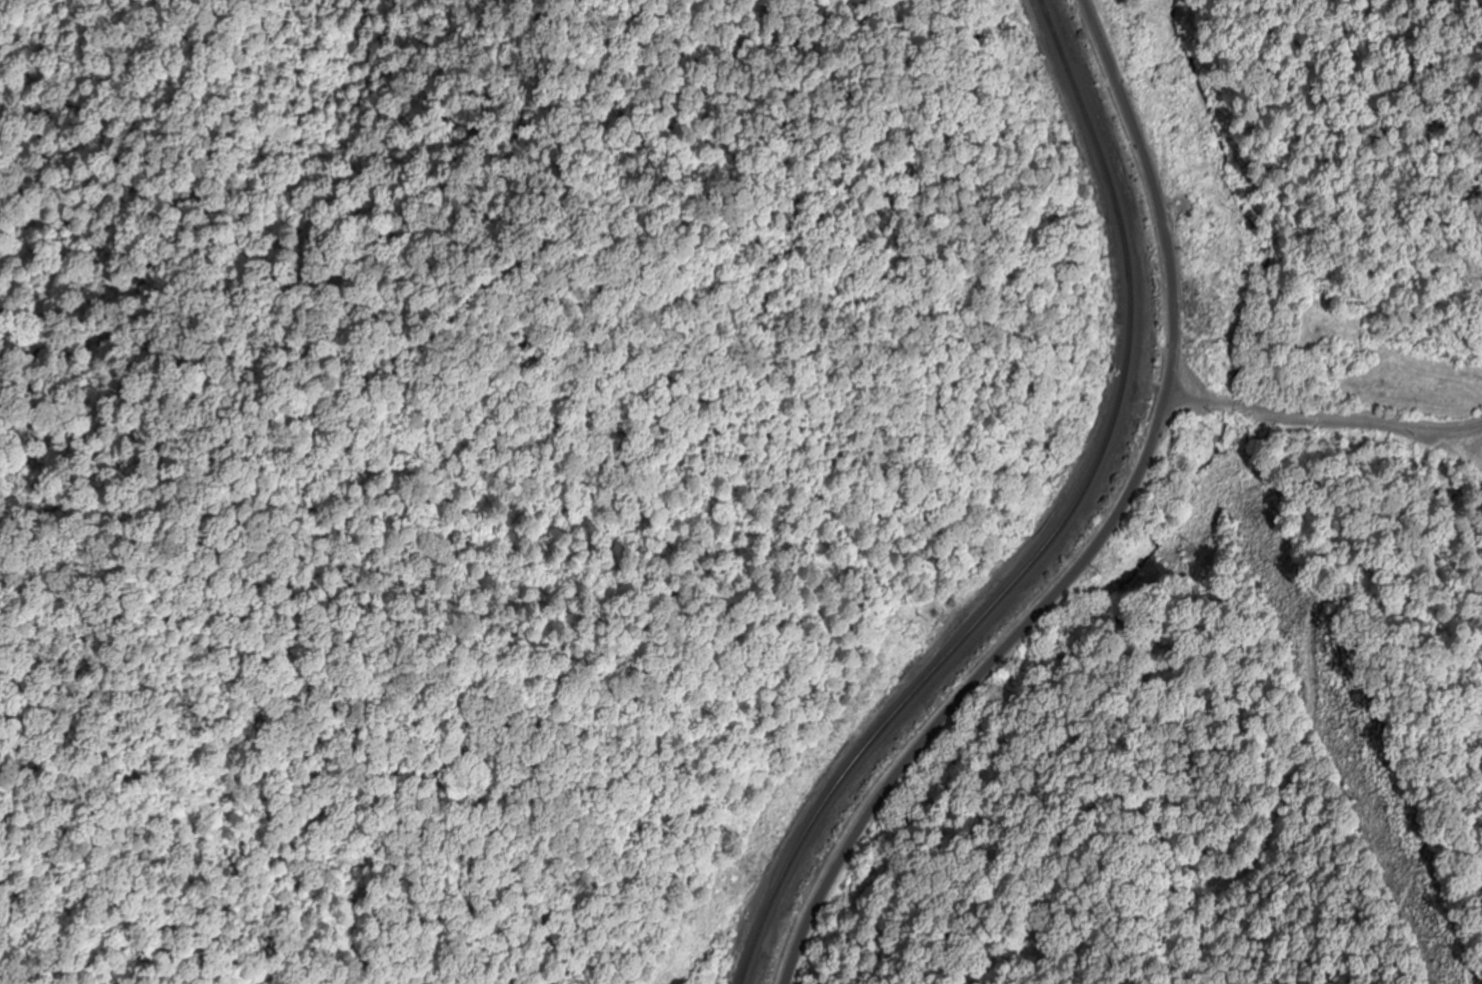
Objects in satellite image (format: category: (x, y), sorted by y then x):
road: (1326, 415)
road: (981, 528)
road: (1104, 530)
railway: (1061, 531)

